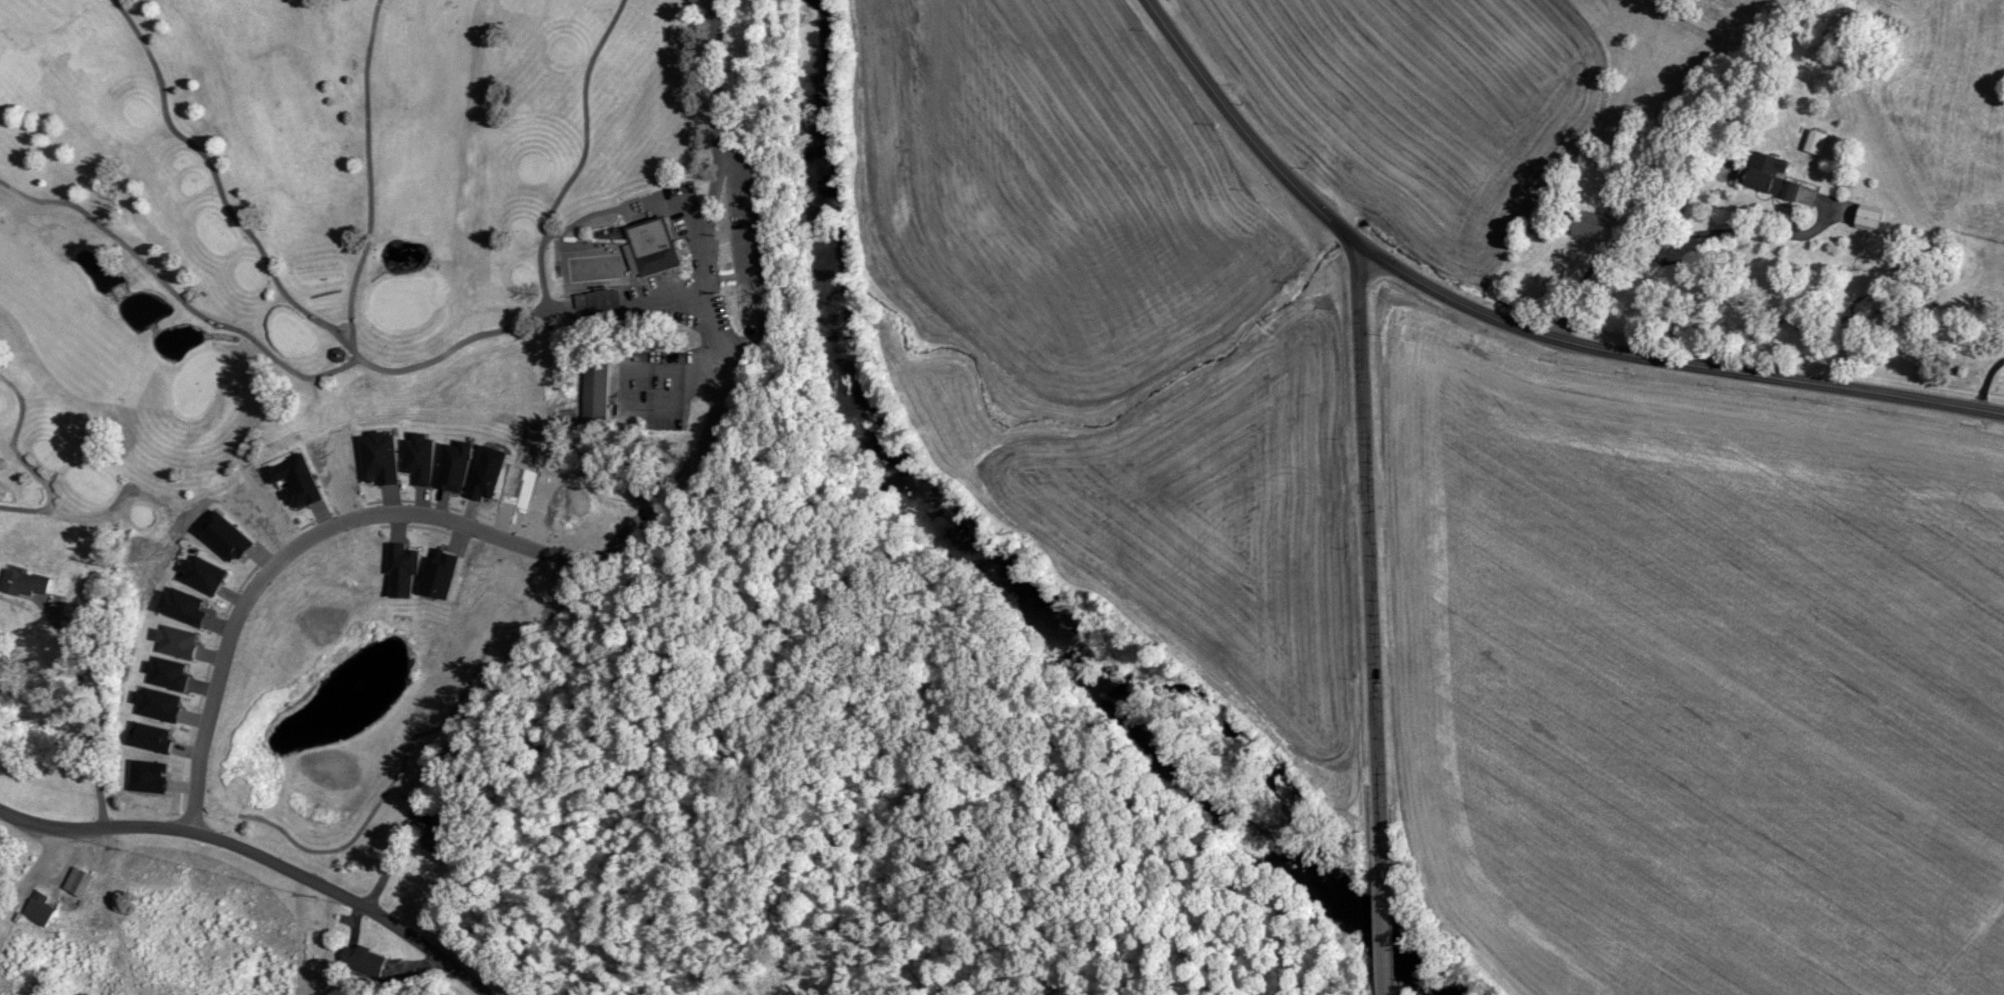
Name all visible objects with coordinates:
road: (712, 86)
building: (1813, 142)
building: (1765, 176)
building: (1865, 217)
building: (1586, 224)
building: (648, 246)
road: (748, 256)
building: (596, 300)
road: (1514, 324)
park: (369, 364)
building: (593, 390)
road: (1366, 556)
road: (280, 564)
river: (999, 570)
building: (23, 583)
road: (518, 608)
road: (91, 707)
building: (435, 834)
road: (262, 858)
building: (74, 881)
building: (35, 908)
road: (1379, 925)
building: (360, 958)
road: (1381, 986)

